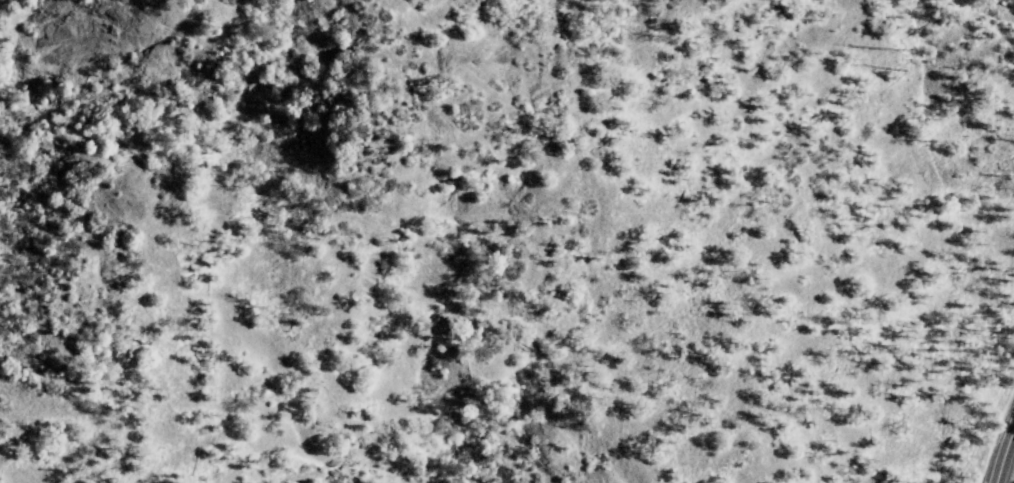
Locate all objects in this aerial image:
road: (1006, 460)

